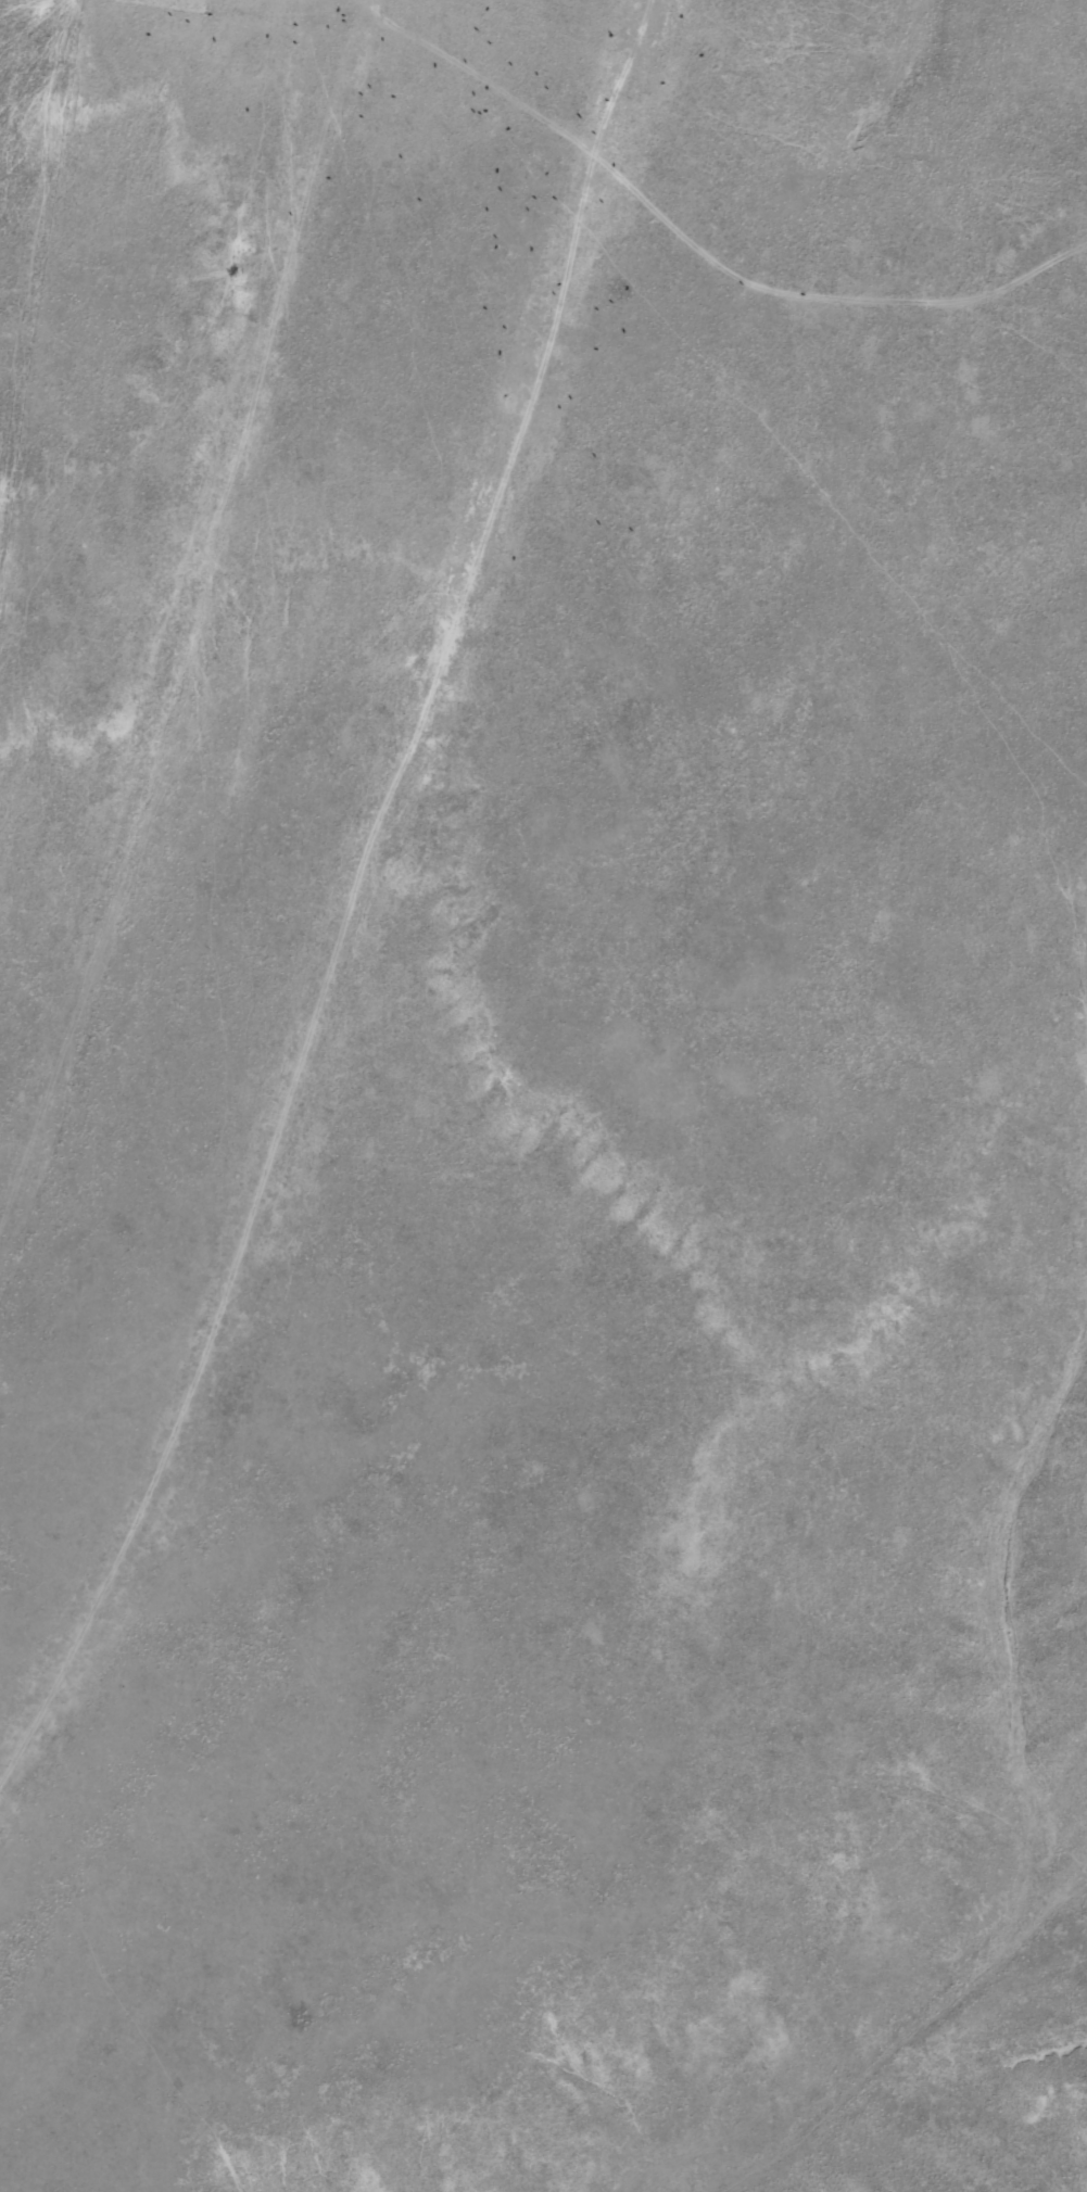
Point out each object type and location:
road: (644, 276)

